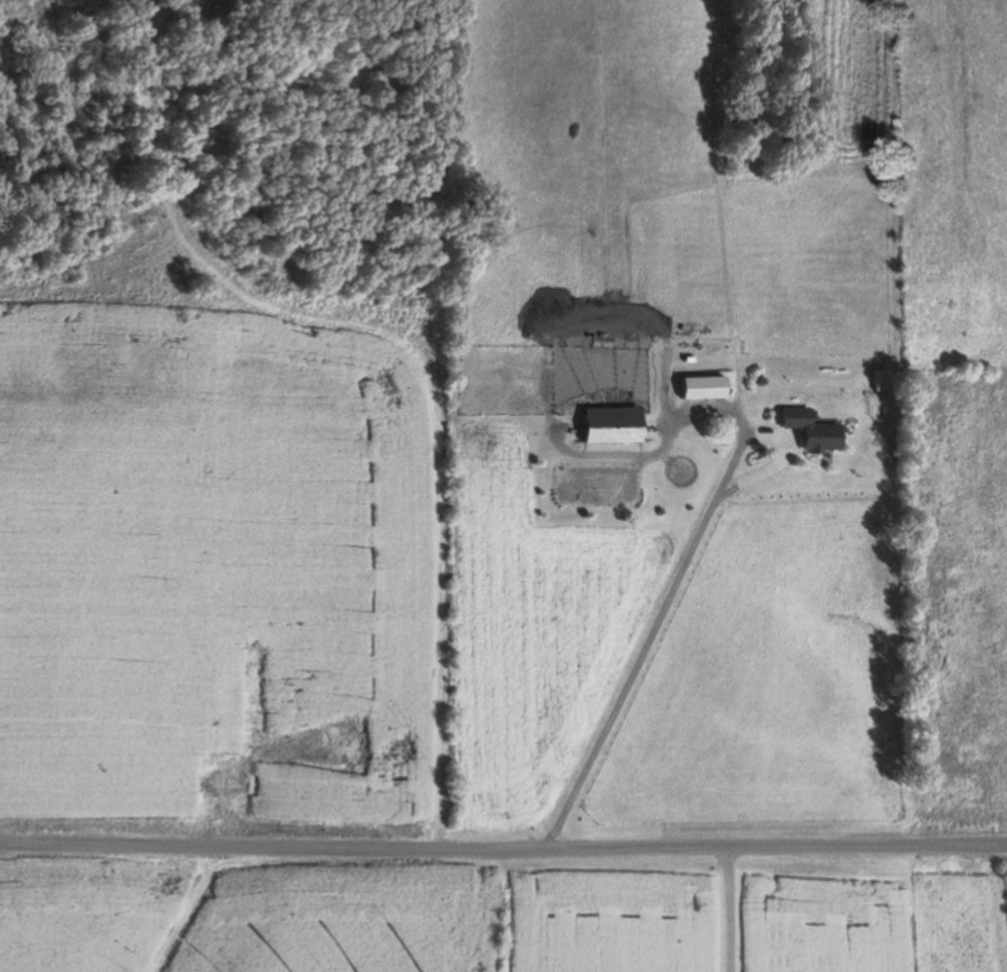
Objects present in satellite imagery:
building: (877, 380)
building: (696, 388)
building: (605, 425)
building: (805, 431)
road: (503, 842)
road: (681, 906)

